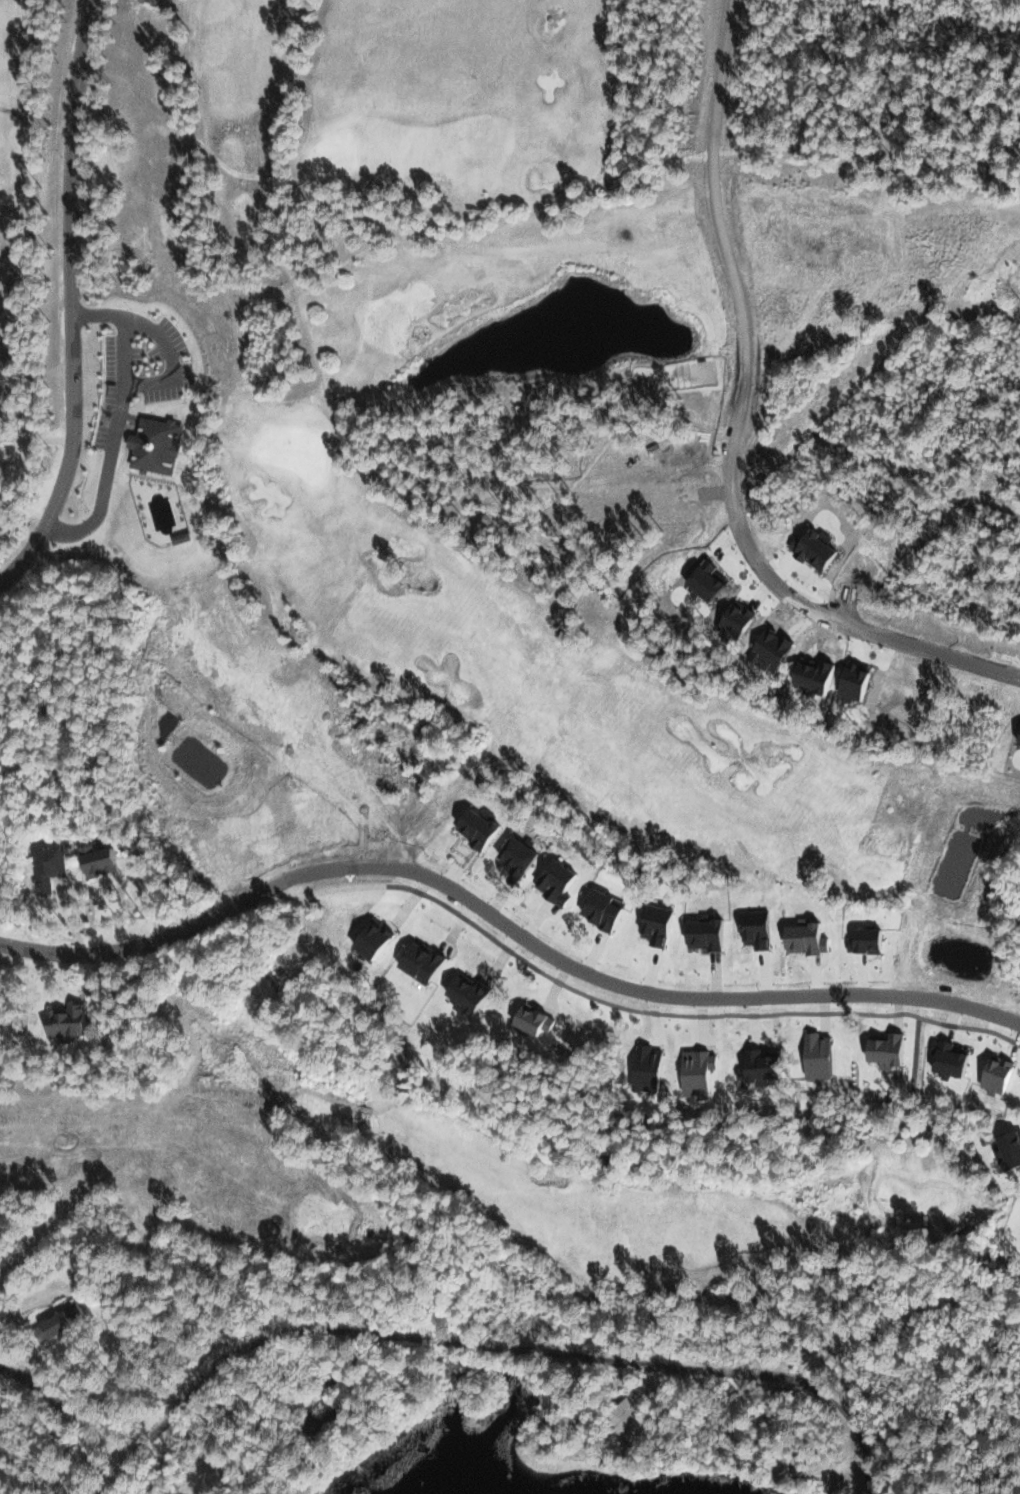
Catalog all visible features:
road: (70, 299)
building: (161, 445)
building: (0, 449)
building: (0, 465)
building: (186, 537)
road: (858, 626)
park: (508, 658)
road: (270, 793)
building: (483, 827)
building: (522, 855)
building: (106, 861)
building: (59, 862)
building: (561, 881)
building: (606, 909)
road: (200, 922)
building: (660, 924)
building: (760, 928)
building: (710, 933)
building: (809, 937)
building: (379, 939)
building: (870, 940)
building: (425, 961)
building: (473, 994)
road: (695, 998)
building: (537, 1019)
building: (72, 1022)
building: (891, 1048)
building: (823, 1055)
building: (953, 1058)
building: (765, 1066)
building: (654, 1069)
building: (701, 1073)
building: (1000, 1076)
building: (1011, 1150)
building: (69, 1318)
road: (430, 1342)

